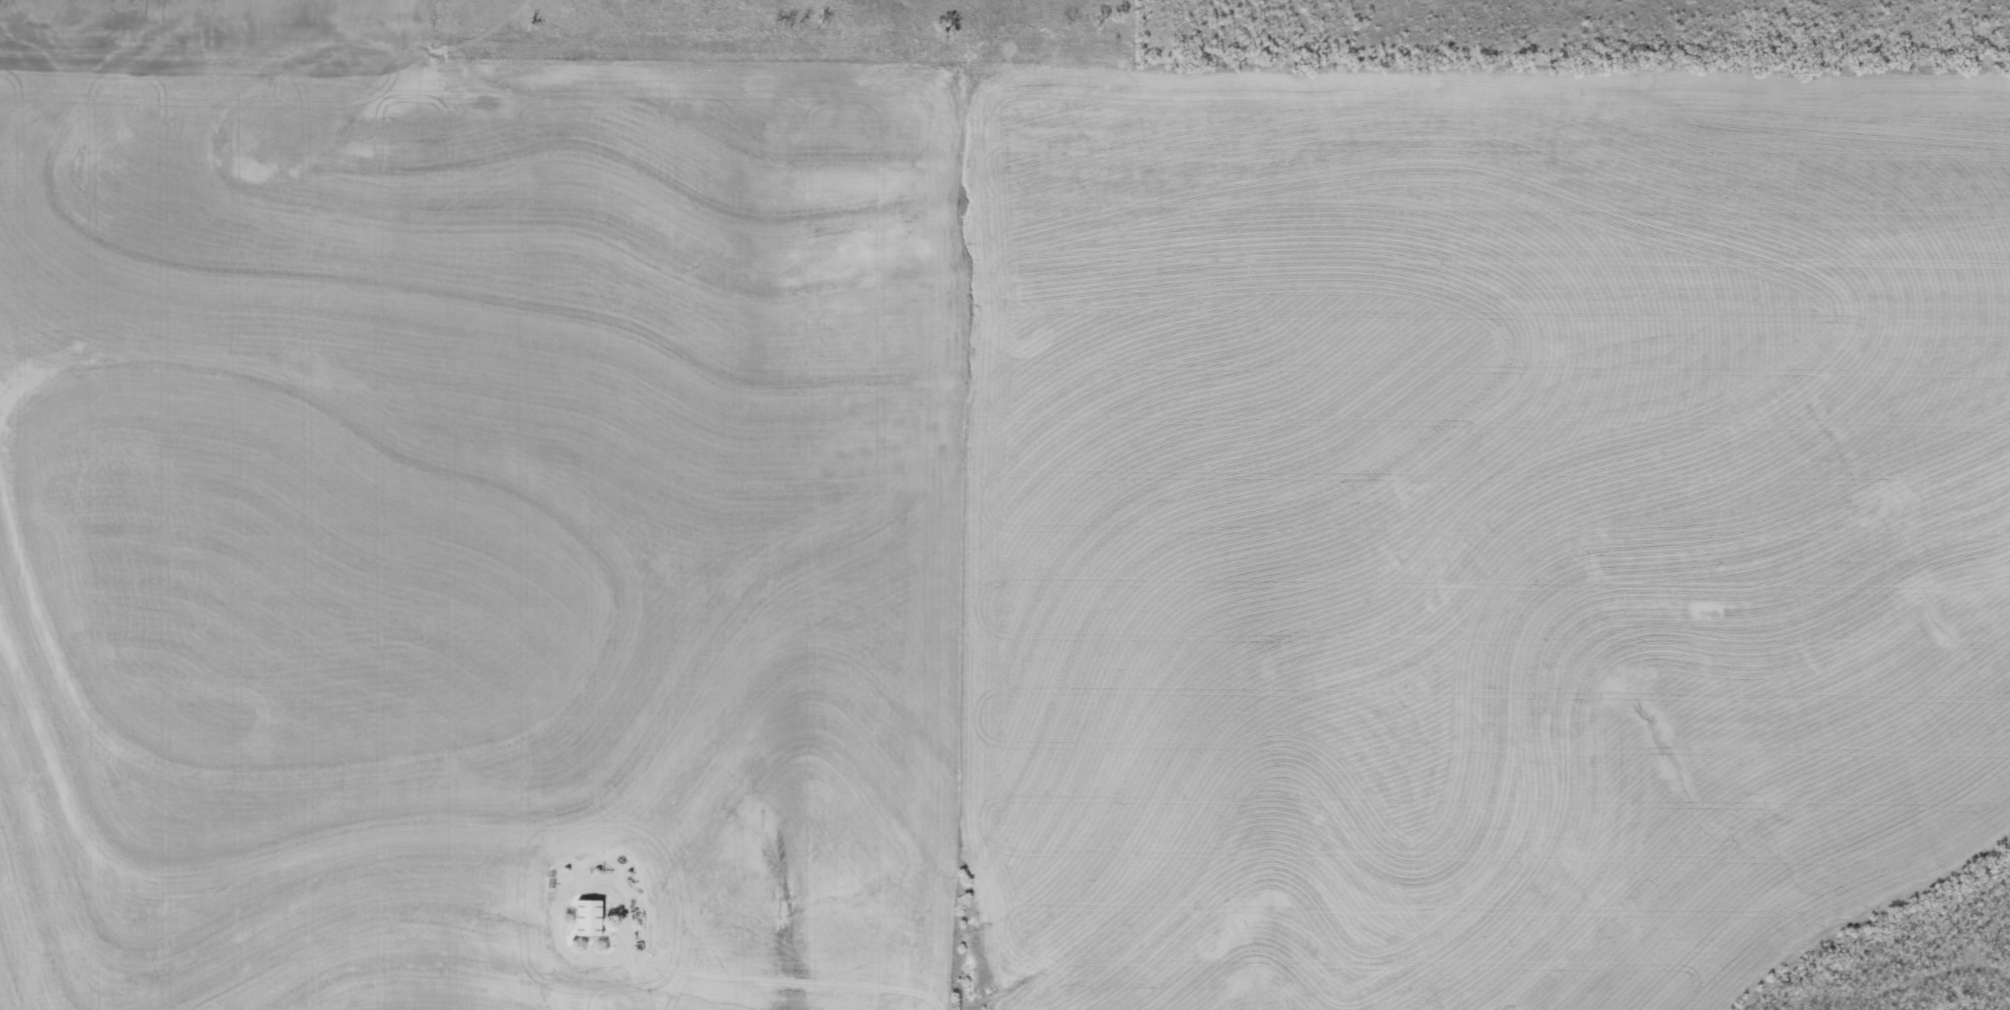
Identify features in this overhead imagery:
building: (585, 918)
road: (214, 945)

